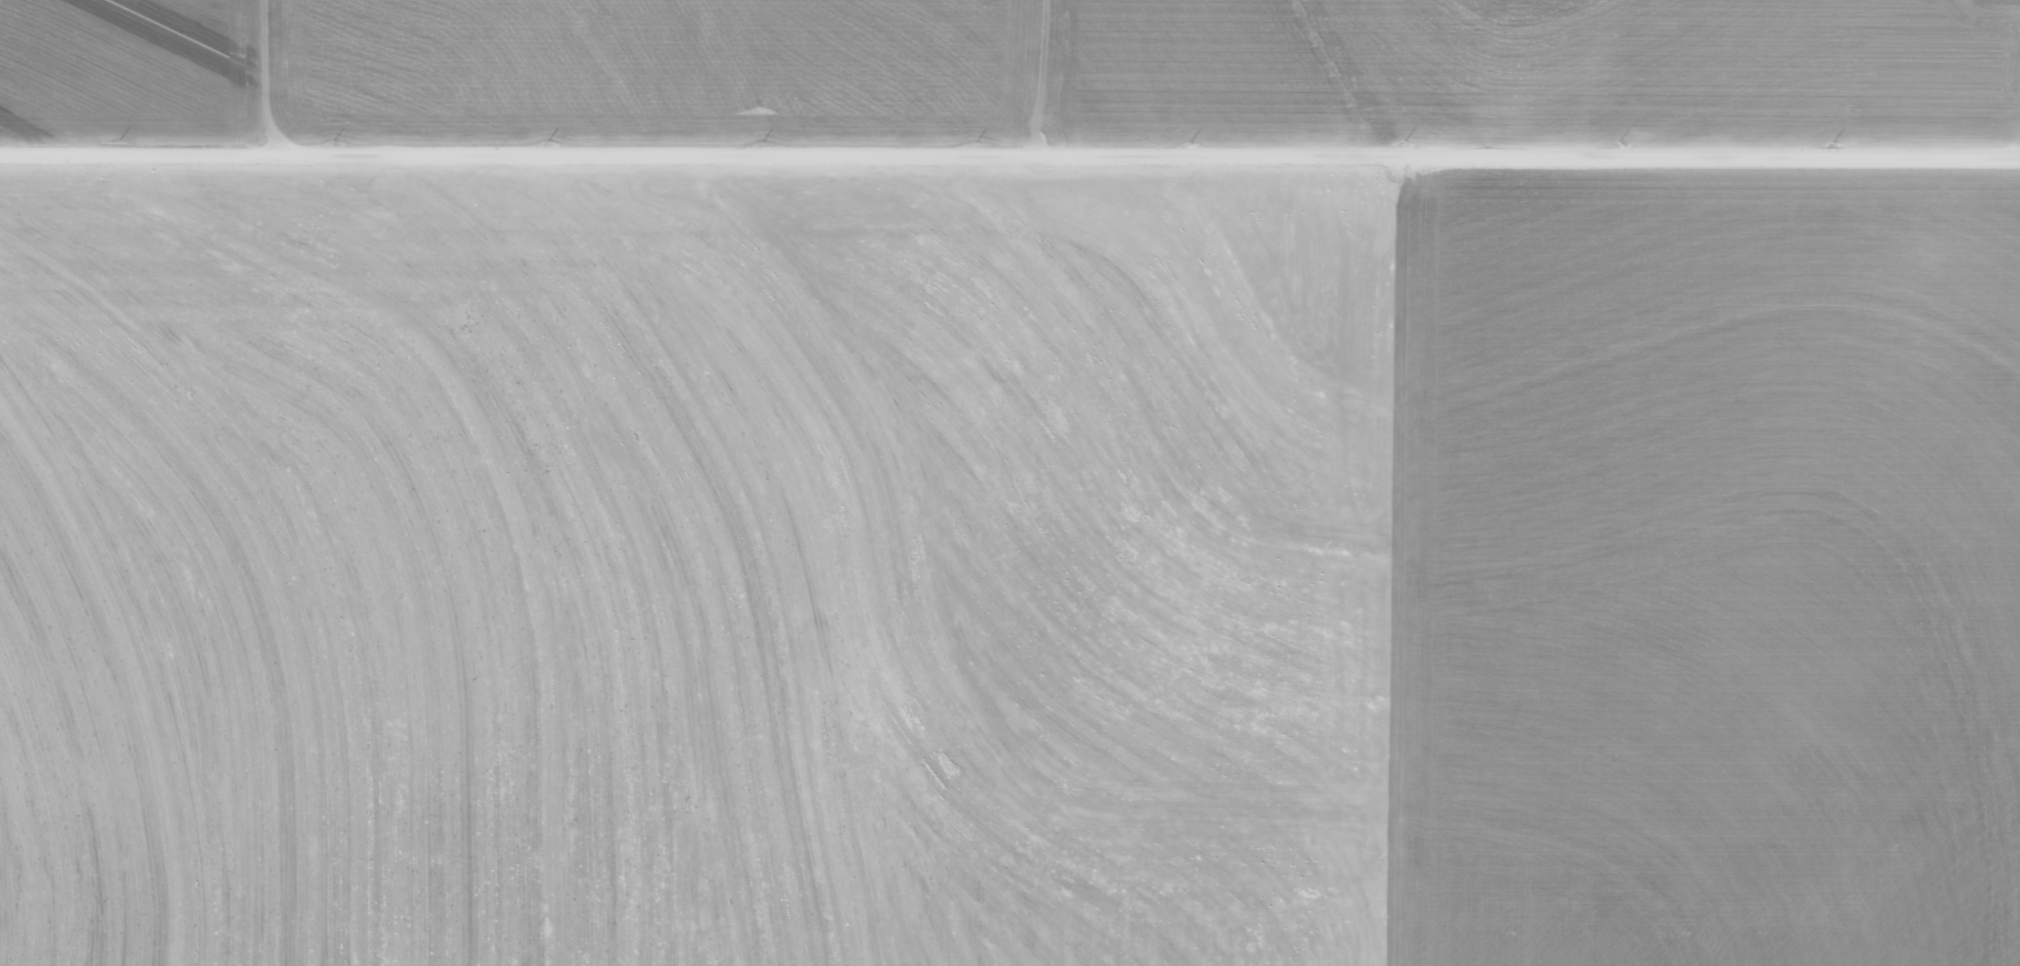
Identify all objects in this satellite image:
road: (1010, 165)

